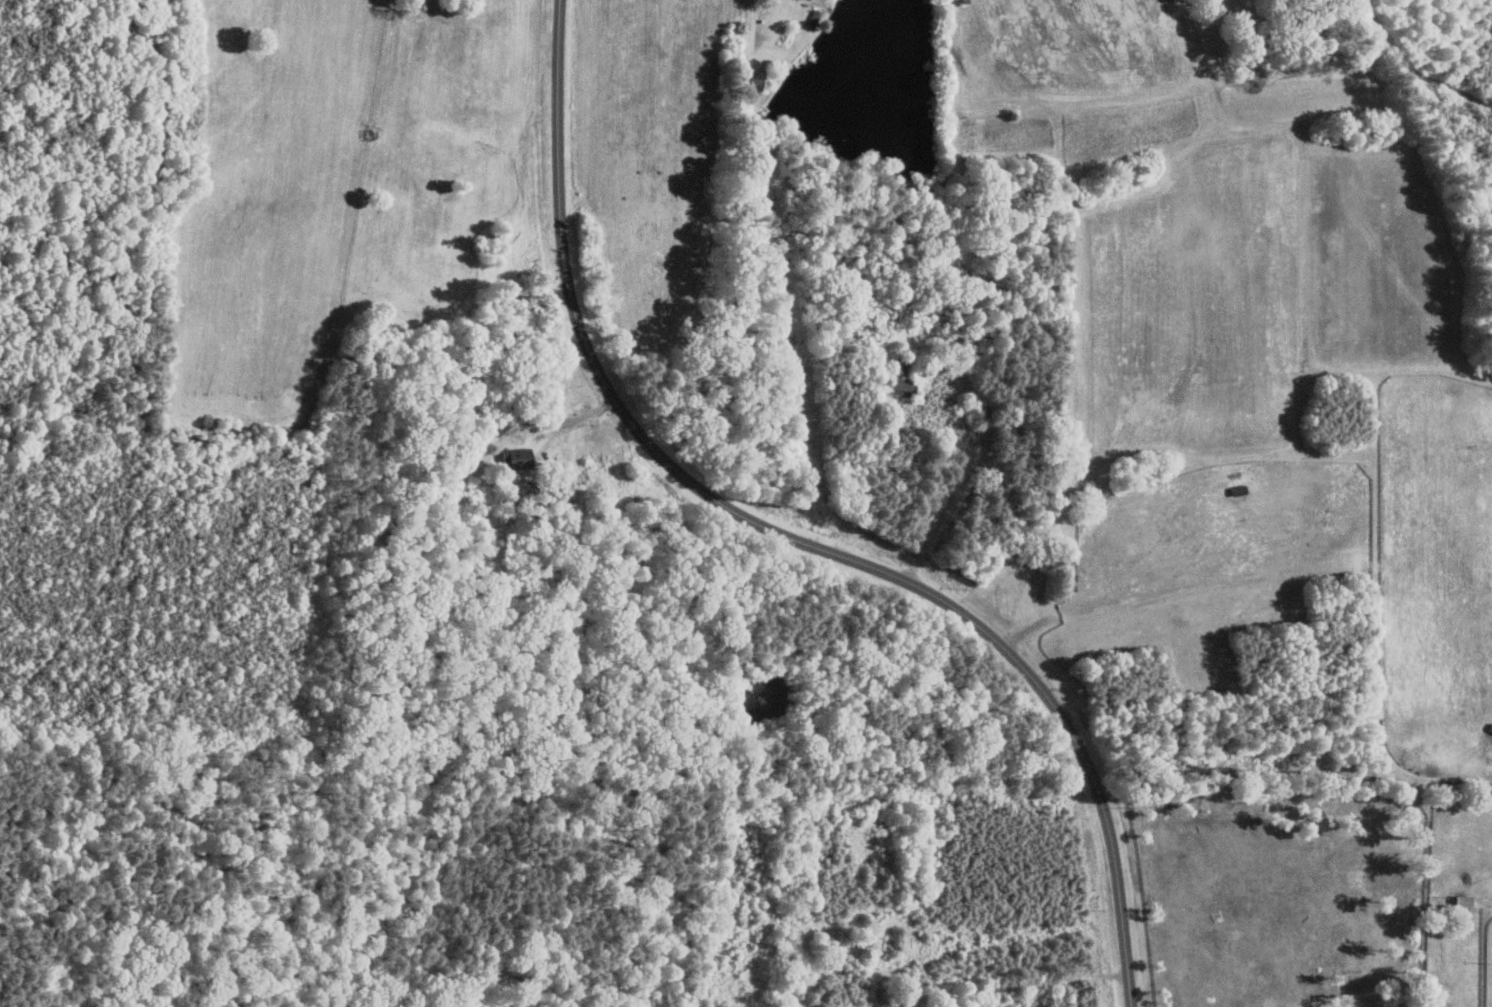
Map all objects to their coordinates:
building: (897, 386)
building: (514, 458)
road: (795, 531)

